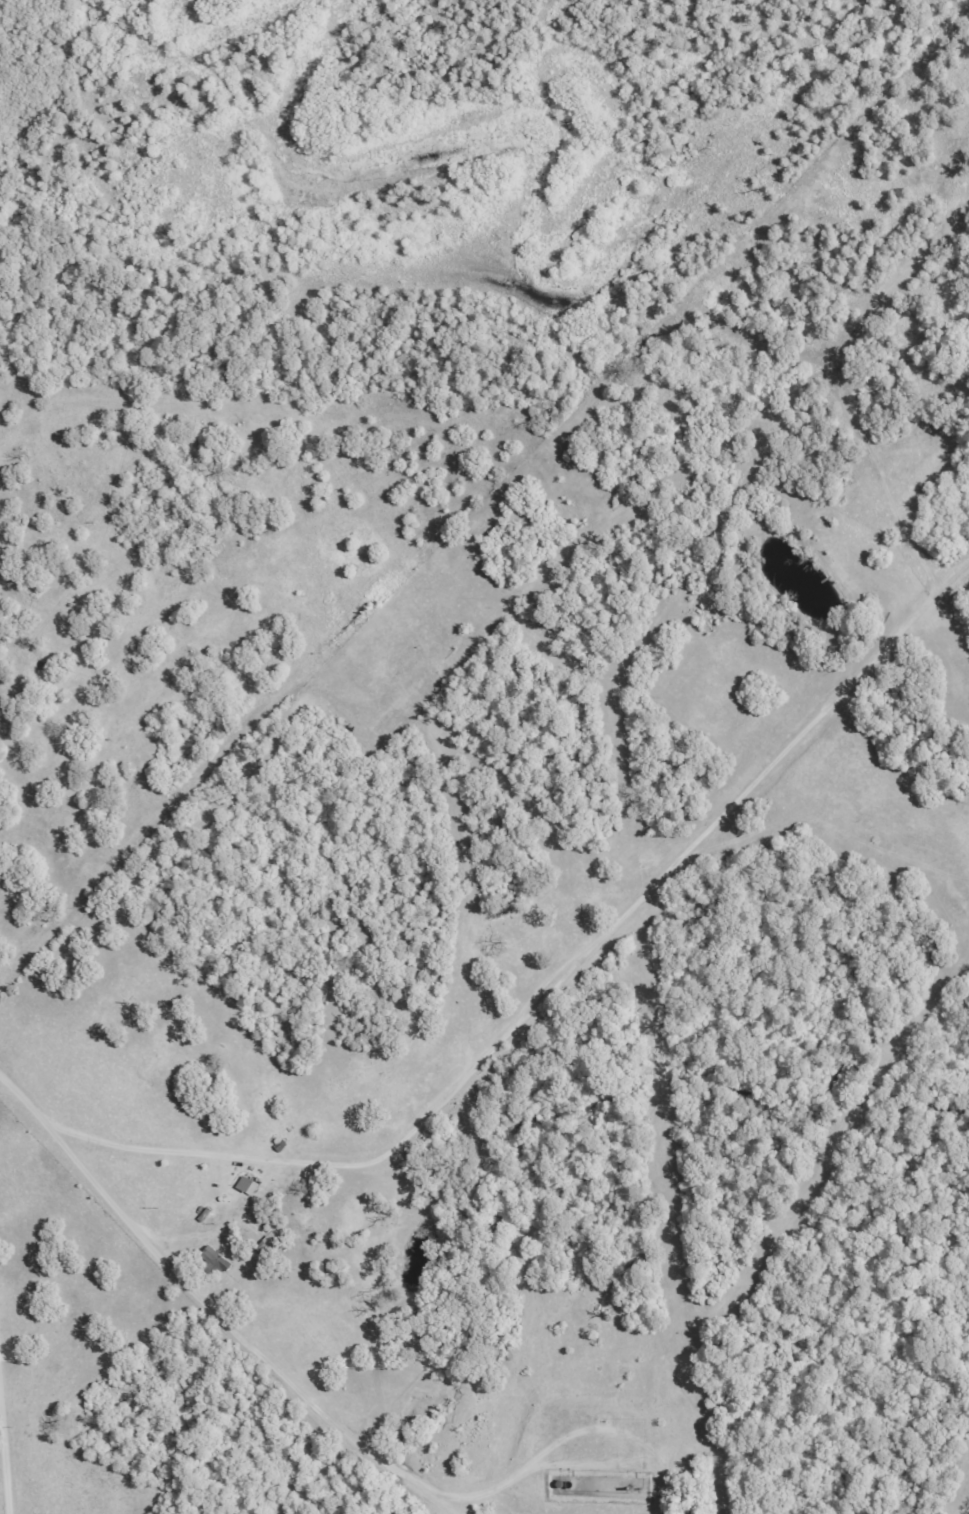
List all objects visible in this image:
building: (247, 1186)
building: (216, 1262)

